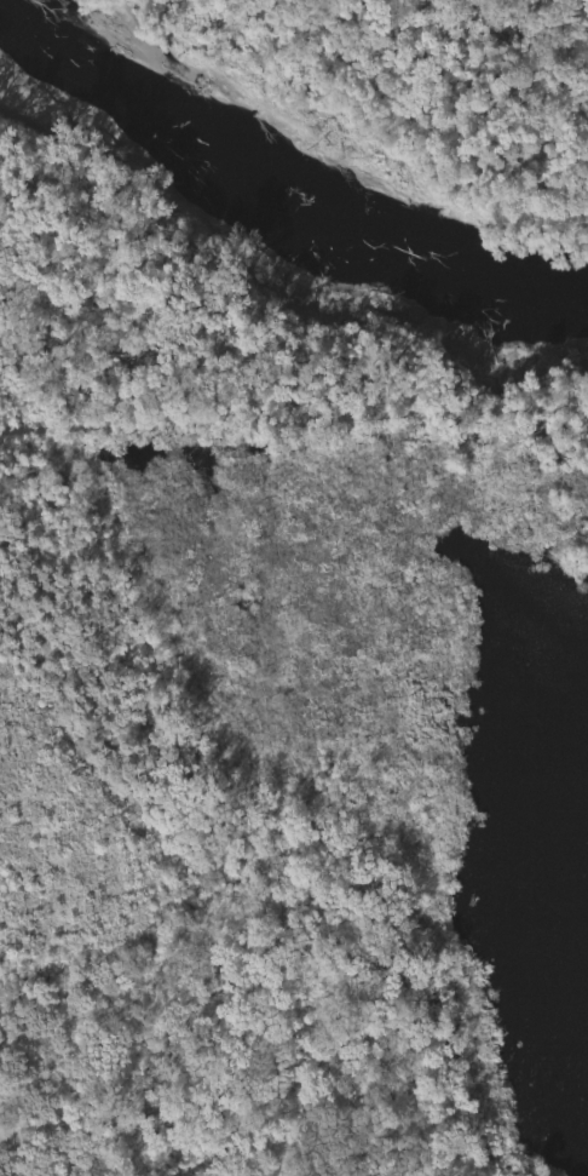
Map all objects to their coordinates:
river: (293, 185)

